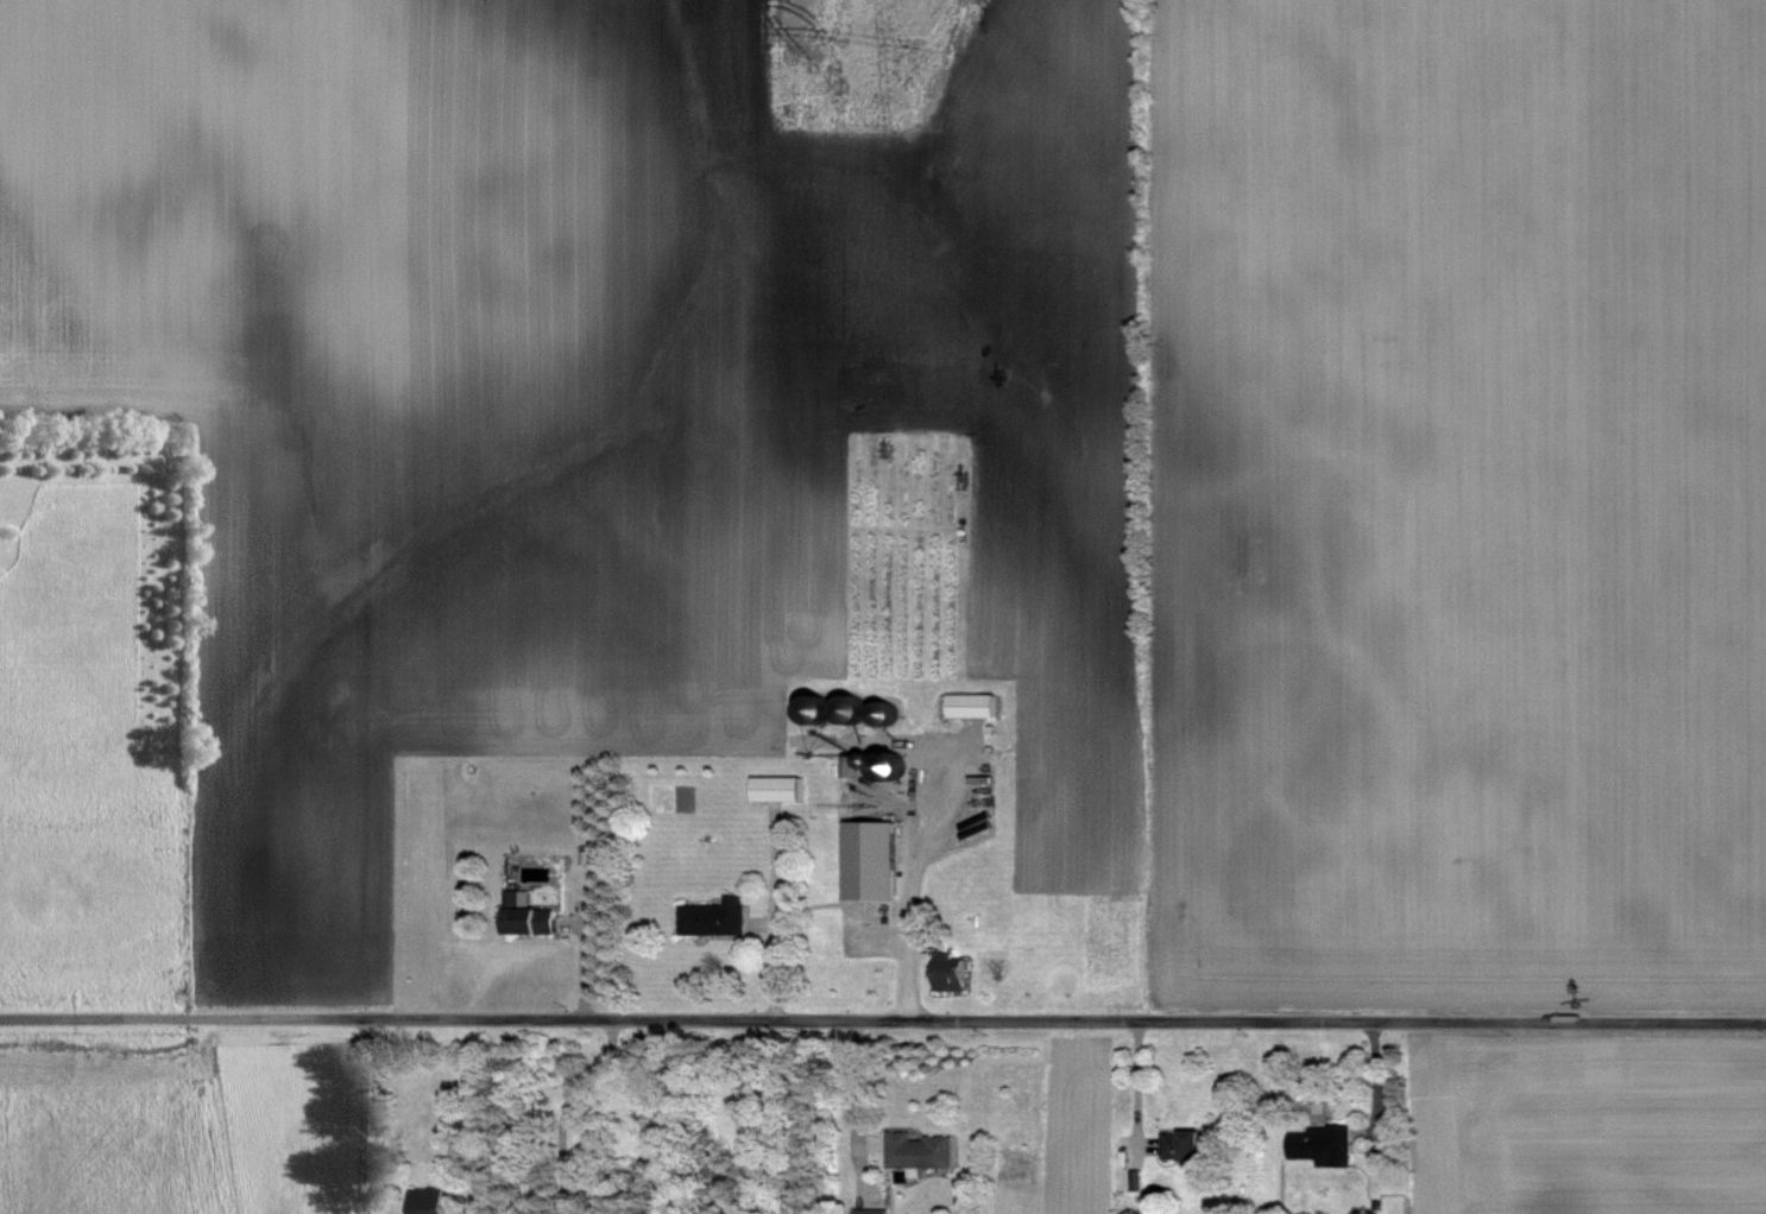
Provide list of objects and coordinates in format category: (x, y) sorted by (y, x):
building: (972, 704)
silo: (819, 707)
silo: (852, 707)
building: (851, 709)
silo: (885, 710)
building: (818, 712)
building: (885, 714)
road: (843, 738)
building: (777, 788)
parking lot: (928, 796)
road: (916, 799)
building: (870, 859)
road: (775, 909)
building: (526, 915)
building: (714, 916)
road: (569, 922)
road: (756, 923)
road: (770, 923)
parking lot: (871, 928)
road: (910, 944)
road: (584, 959)
building: (951, 970)
road: (882, 1019)
road: (566, 1108)
road: (364, 1115)
building: (1190, 1145)
building: (1322, 1145)
building: (919, 1151)
building: (428, 1201)
building: (872, 1212)

